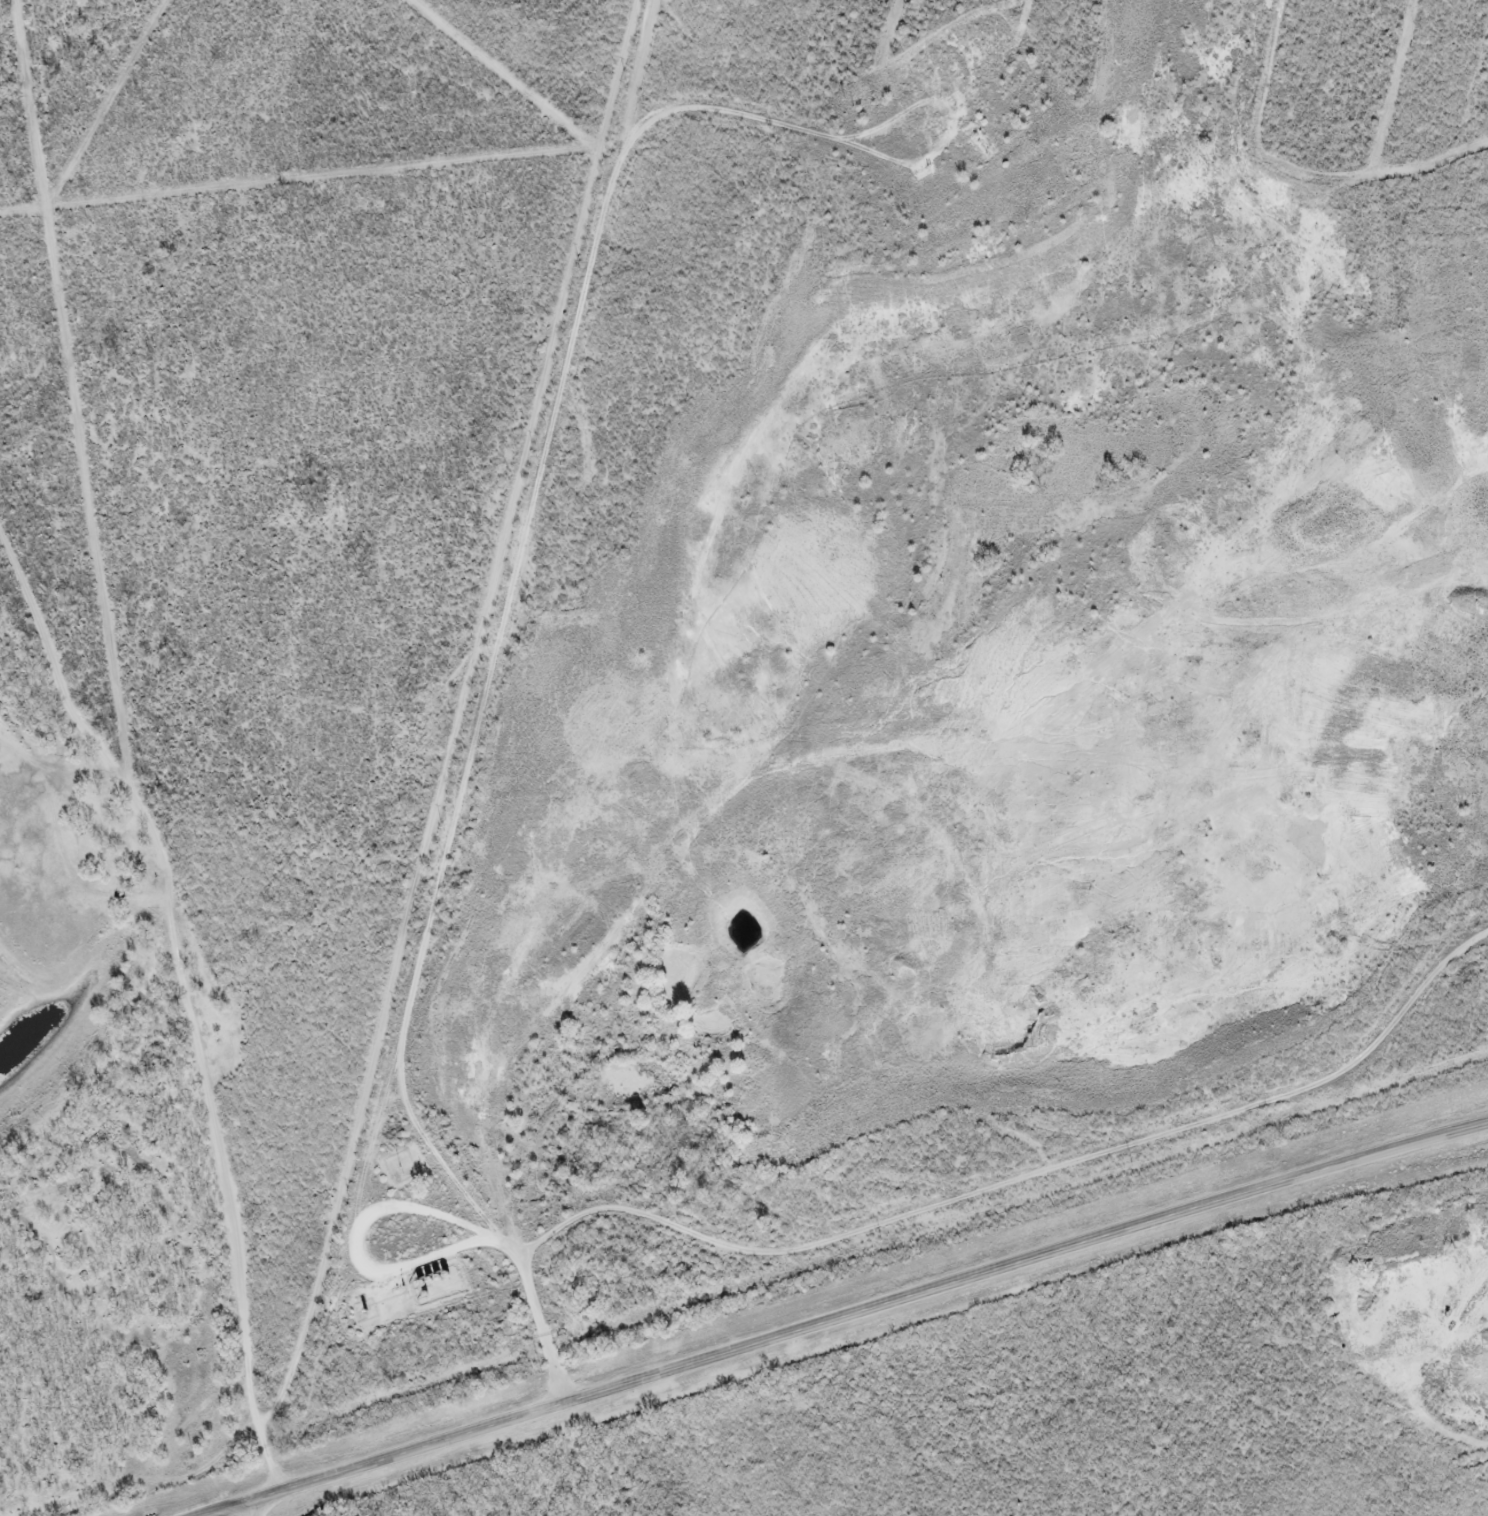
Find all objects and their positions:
road: (533, 60)
road: (494, 610)
road: (200, 1027)
road: (845, 1315)

